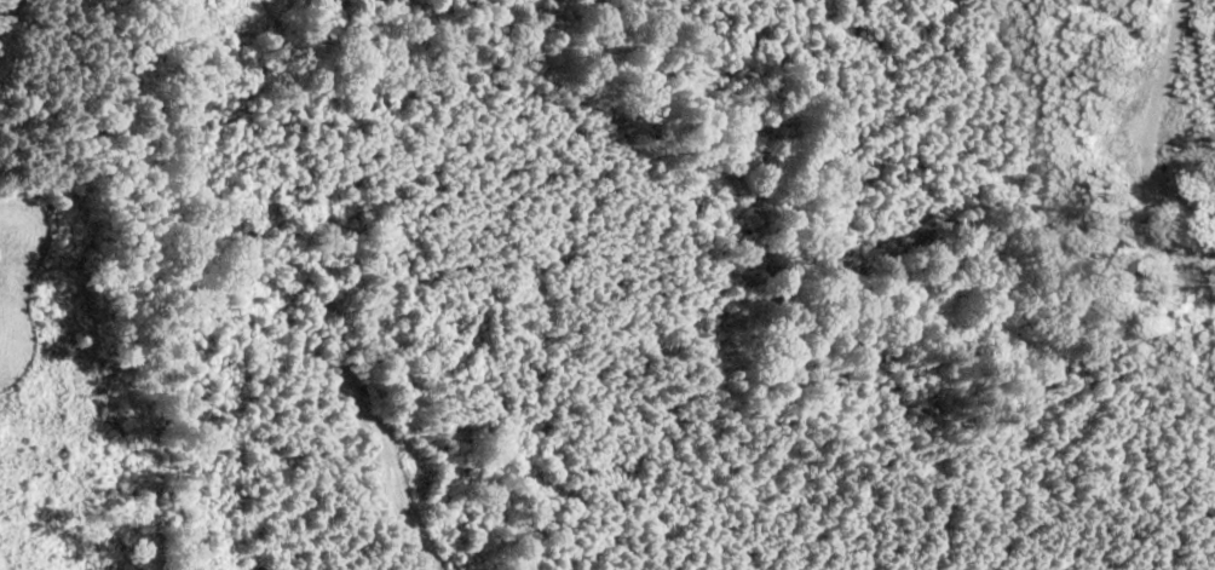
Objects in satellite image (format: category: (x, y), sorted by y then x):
road: (1113, 175)
road: (1202, 516)

